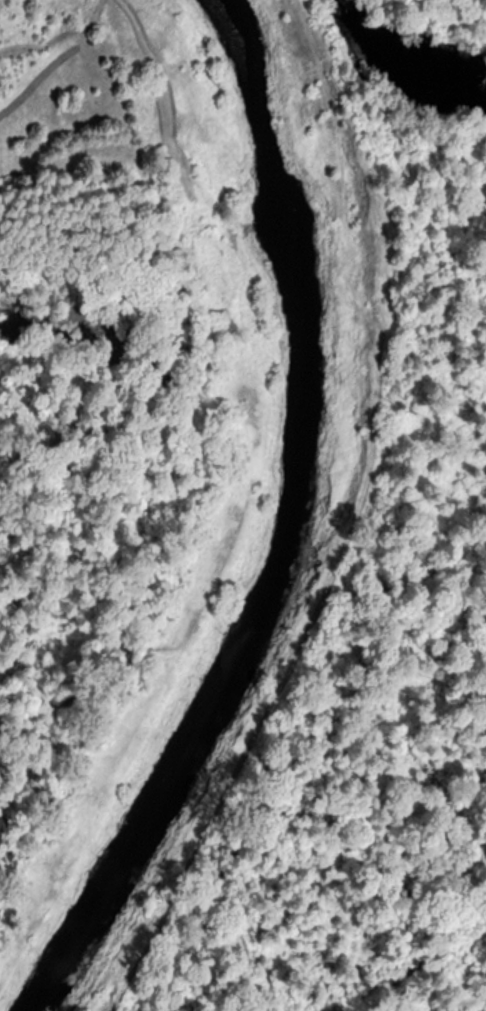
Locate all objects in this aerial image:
river: (283, 533)

